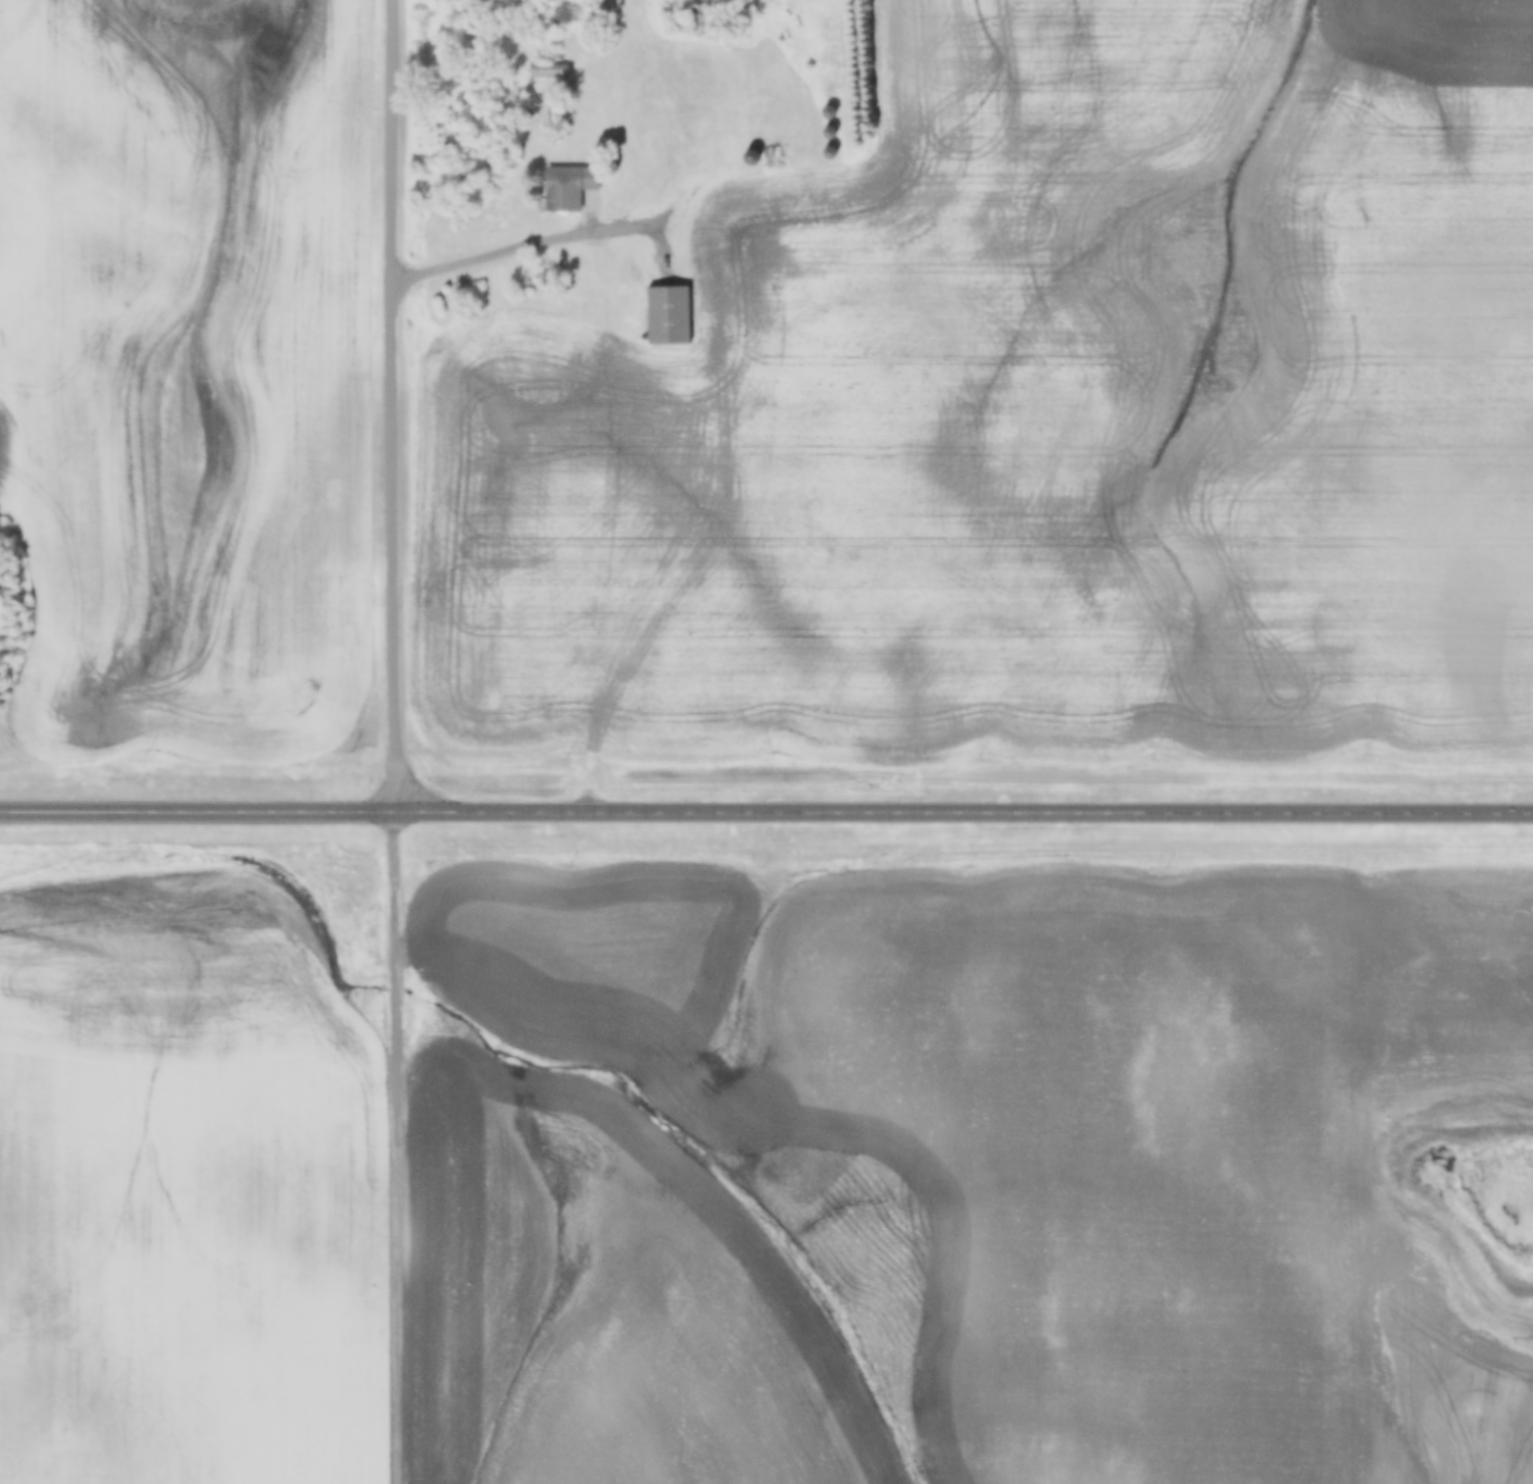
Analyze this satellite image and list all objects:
building: (827, 113)
building: (571, 189)
road: (539, 243)
building: (806, 263)
building: (667, 316)
road: (393, 406)
road: (766, 813)
road: (395, 1148)

